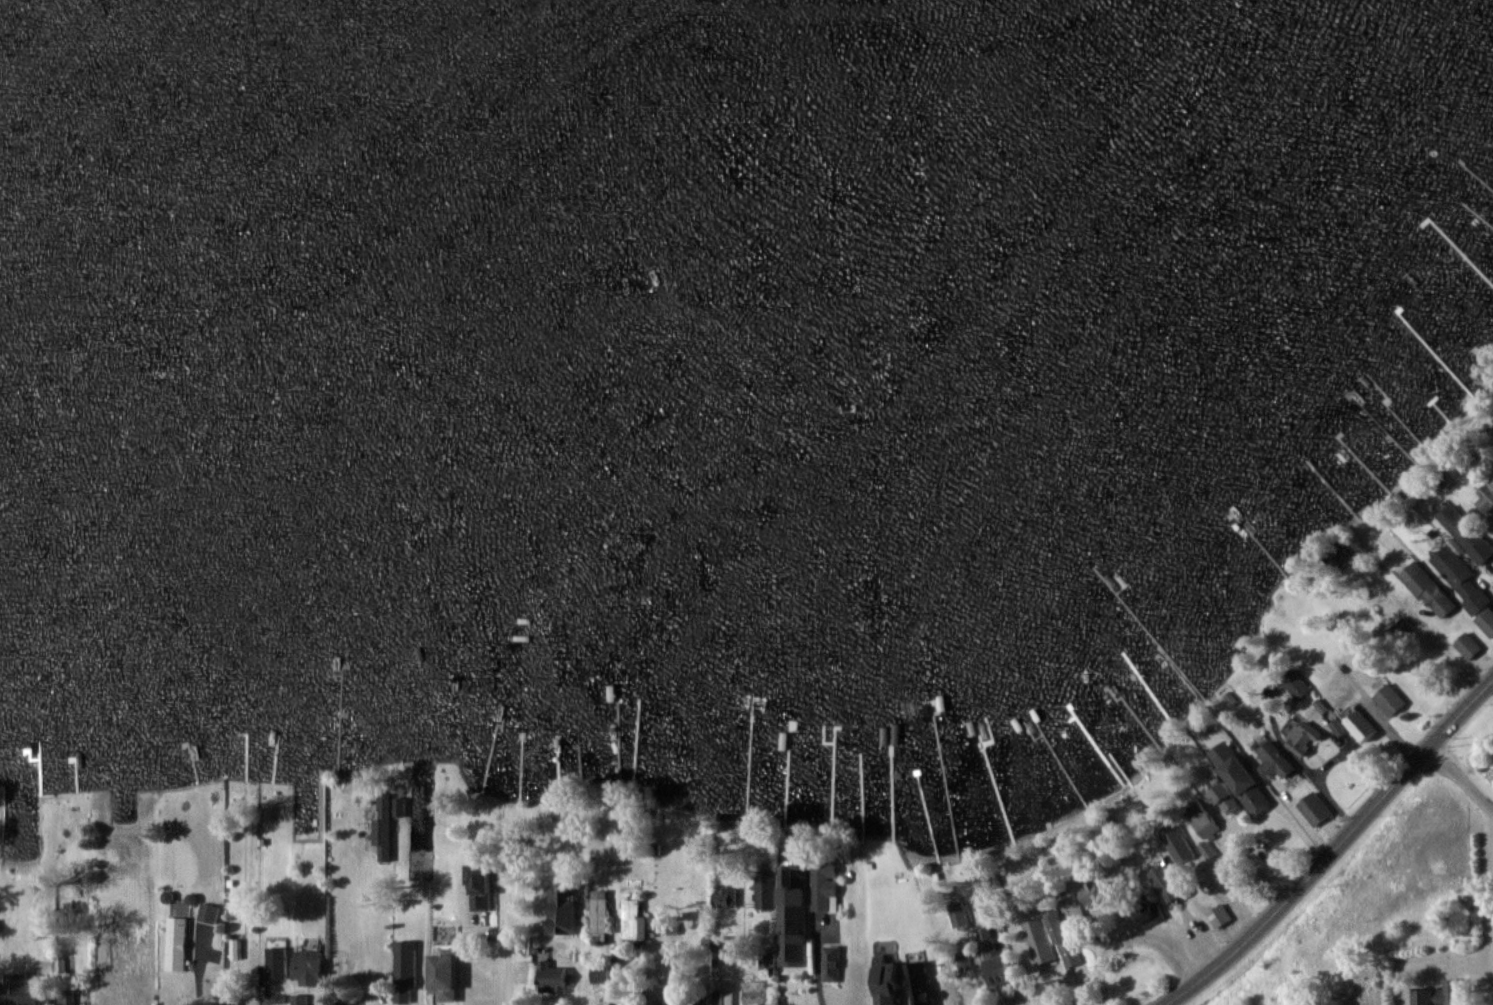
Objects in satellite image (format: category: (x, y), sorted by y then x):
building: (1492, 485)
building: (1467, 534)
building: (1463, 581)
building: (1429, 590)
building: (1487, 621)
building: (1469, 646)
building: (1391, 700)
building: (1361, 728)
building: (1303, 739)
building: (1277, 761)
building: (1241, 777)
road: (1460, 781)
building: (1229, 798)
building: (1315, 809)
building: (1205, 821)
building: (383, 841)
building: (1179, 845)
road: (1332, 848)
building: (482, 887)
building: (825, 887)
building: (765, 890)
building: (1096, 893)
building: (725, 898)
building: (1073, 906)
road: (499, 908)
building: (564, 910)
building: (599, 911)
building: (209, 914)
building: (794, 917)
building: (1219, 917)
building: (634, 922)
building: (1066, 940)
building: (1039, 941)
building: (177, 944)
building: (406, 947)
building: (129, 950)
building: (767, 961)
building: (277, 964)
building: (309, 965)
building: (1003, 967)
road: (818, 976)
building: (446, 978)
building: (554, 978)
building: (889, 981)
building: (920, 984)
road: (368, 987)
building: (755, 993)
building: (1443, 994)
building: (30, 997)
building: (1058, 997)
building: (724, 998)
building: (300, 999)
building: (704, 1003)

